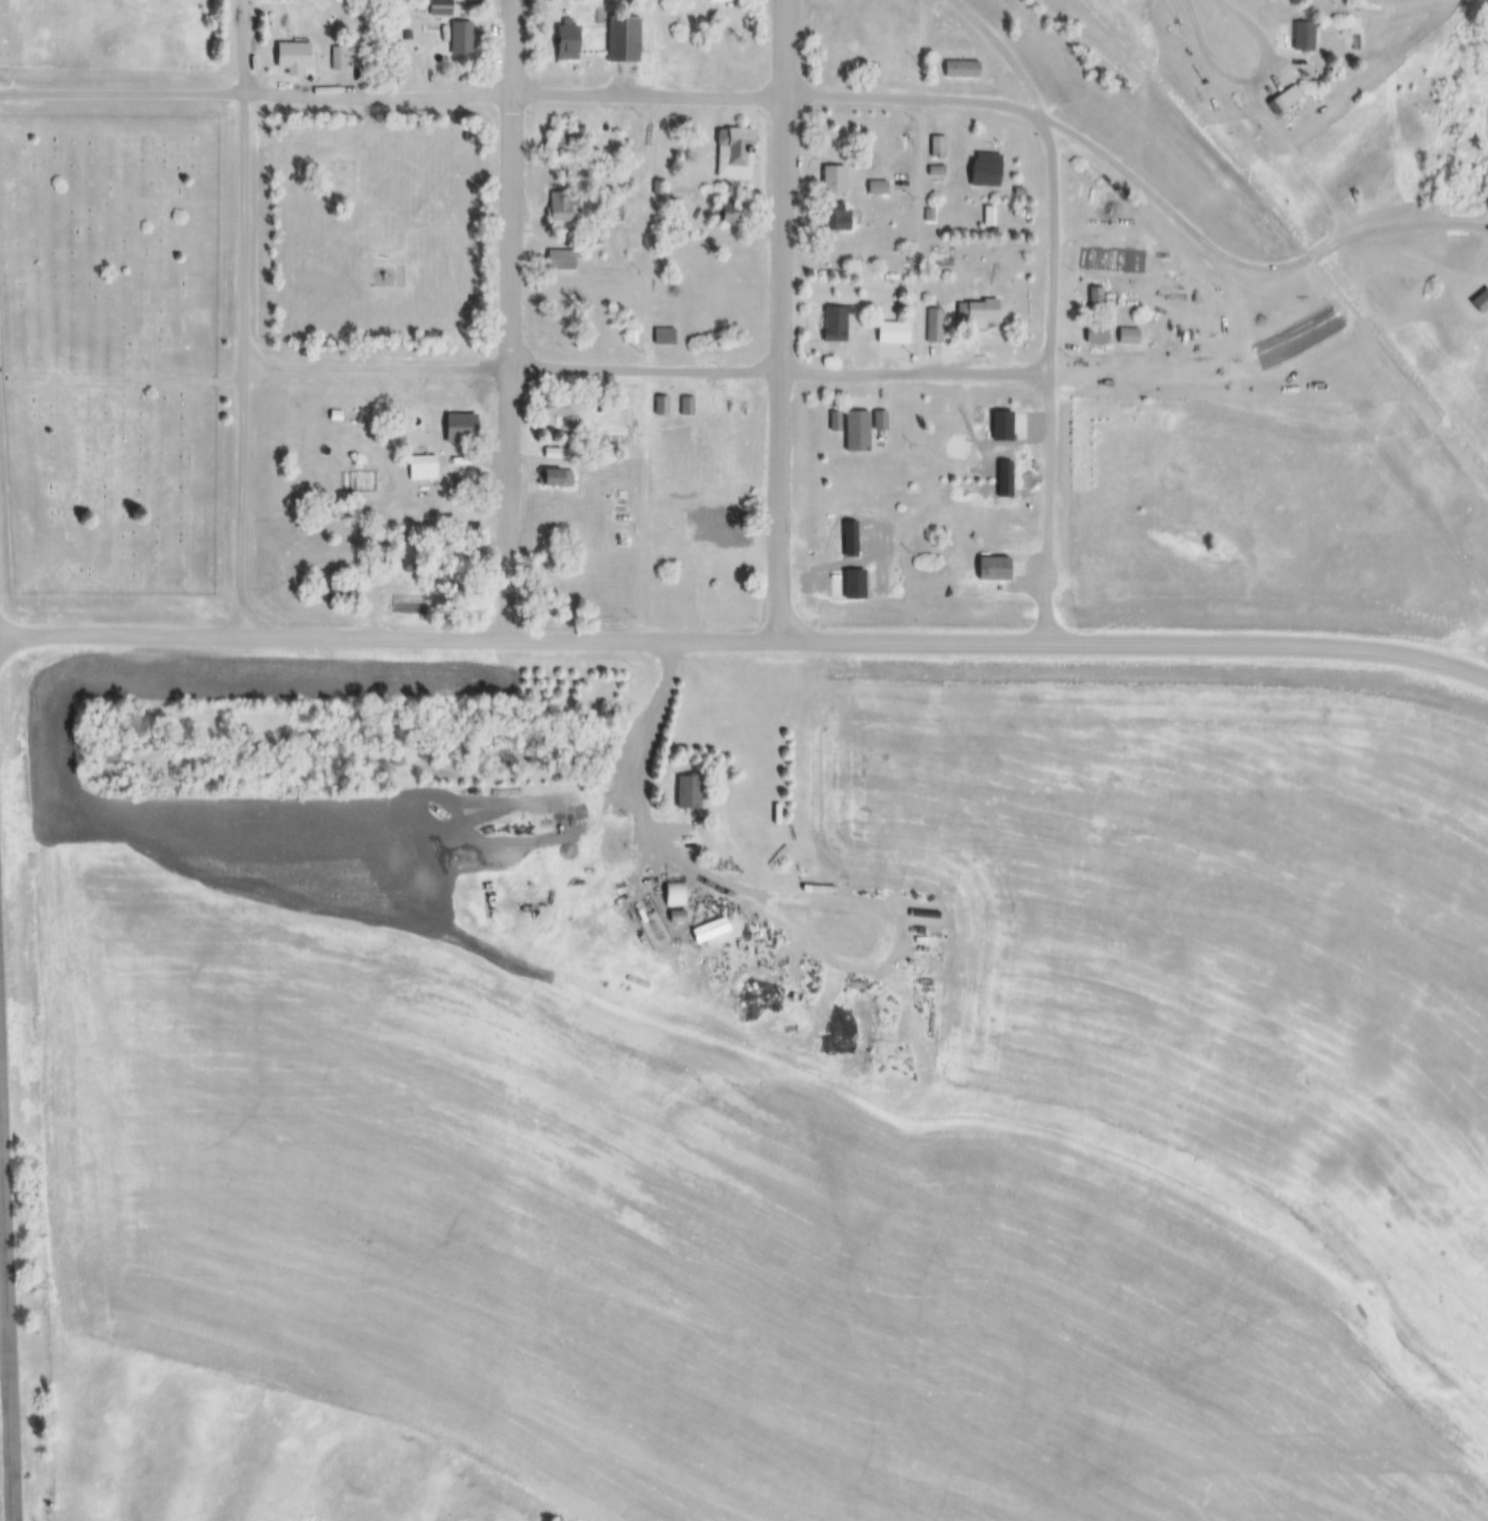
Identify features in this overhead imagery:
building: (732, 1)
building: (440, 8)
building: (1307, 37)
building: (462, 39)
building: (623, 39)
building: (567, 41)
road: (1005, 54)
building: (295, 56)
building: (339, 60)
building: (367, 60)
building: (961, 70)
road: (1244, 78)
road: (1006, 86)
road: (522, 97)
building: (1282, 104)
building: (561, 140)
building: (738, 144)
building: (939, 147)
building: (987, 170)
building: (937, 171)
park: (340, 180)
building: (835, 181)
building: (659, 187)
building: (878, 188)
building: (1020, 192)
building: (563, 206)
building: (615, 213)
building: (731, 213)
building: (929, 215)
building: (991, 215)
building: (832, 217)
building: (1010, 218)
railway: (1299, 230)
park: (382, 232)
building: (562, 260)
road: (1244, 269)
building: (1098, 297)
building: (979, 313)
road: (243, 318)
road: (507, 319)
road: (781, 320)
building: (836, 323)
building: (567, 326)
building: (934, 326)
building: (890, 334)
building: (1098, 334)
building: (665, 336)
building: (632, 337)
road: (375, 368)
road: (777, 371)
road: (121, 378)
road: (1047, 381)
building: (301, 401)
building: (662, 406)
building: (562, 412)
building: (881, 420)
building: (462, 429)
building: (858, 431)
building: (552, 453)
building: (428, 464)
building: (555, 478)
building: (619, 518)
building: (338, 534)
building: (730, 535)
building: (414, 559)
building: (996, 569)
building: (345, 593)
road: (745, 641)
building: (689, 791)
building: (675, 895)
road: (763, 895)
building: (671, 916)
silo: (671, 916)
building: (649, 926)
building: (710, 930)
road: (0, 1203)
road: (6, 1347)
road: (3, 1367)

